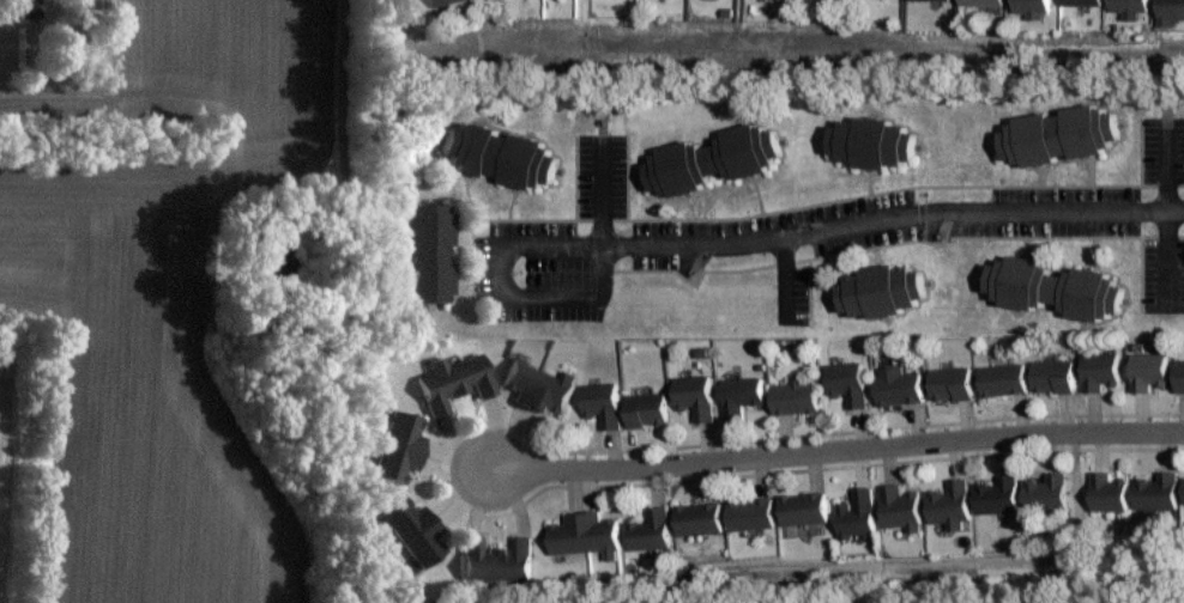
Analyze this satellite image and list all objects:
building: (932, 0)
building: (445, 2)
building: (983, 4)
building: (1083, 4)
building: (30, 8)
building: (1129, 8)
building: (1033, 10)
building: (1170, 13)
building: (1061, 136)
building: (870, 142)
building: (500, 156)
building: (713, 159)
road: (603, 196)
road: (844, 227)
building: (423, 254)
building: (1052, 286)
building: (883, 291)
road: (552, 297)
building: (1103, 371)
building: (1150, 371)
building: (1180, 374)
building: (1056, 376)
building: (1005, 379)
building: (454, 383)
building: (850, 383)
building: (952, 383)
building: (538, 385)
building: (901, 385)
building: (743, 394)
building: (696, 396)
building: (797, 397)
building: (604, 403)
building: (648, 409)
building: (398, 446)
road: (839, 452)
building: (1159, 491)
building: (1110, 492)
building: (1049, 493)
building: (999, 495)
building: (952, 505)
building: (901, 507)
building: (805, 508)
building: (857, 513)
building: (753, 514)
building: (701, 518)
building: (652, 530)
building: (416, 531)
building: (585, 534)
building: (496, 560)

